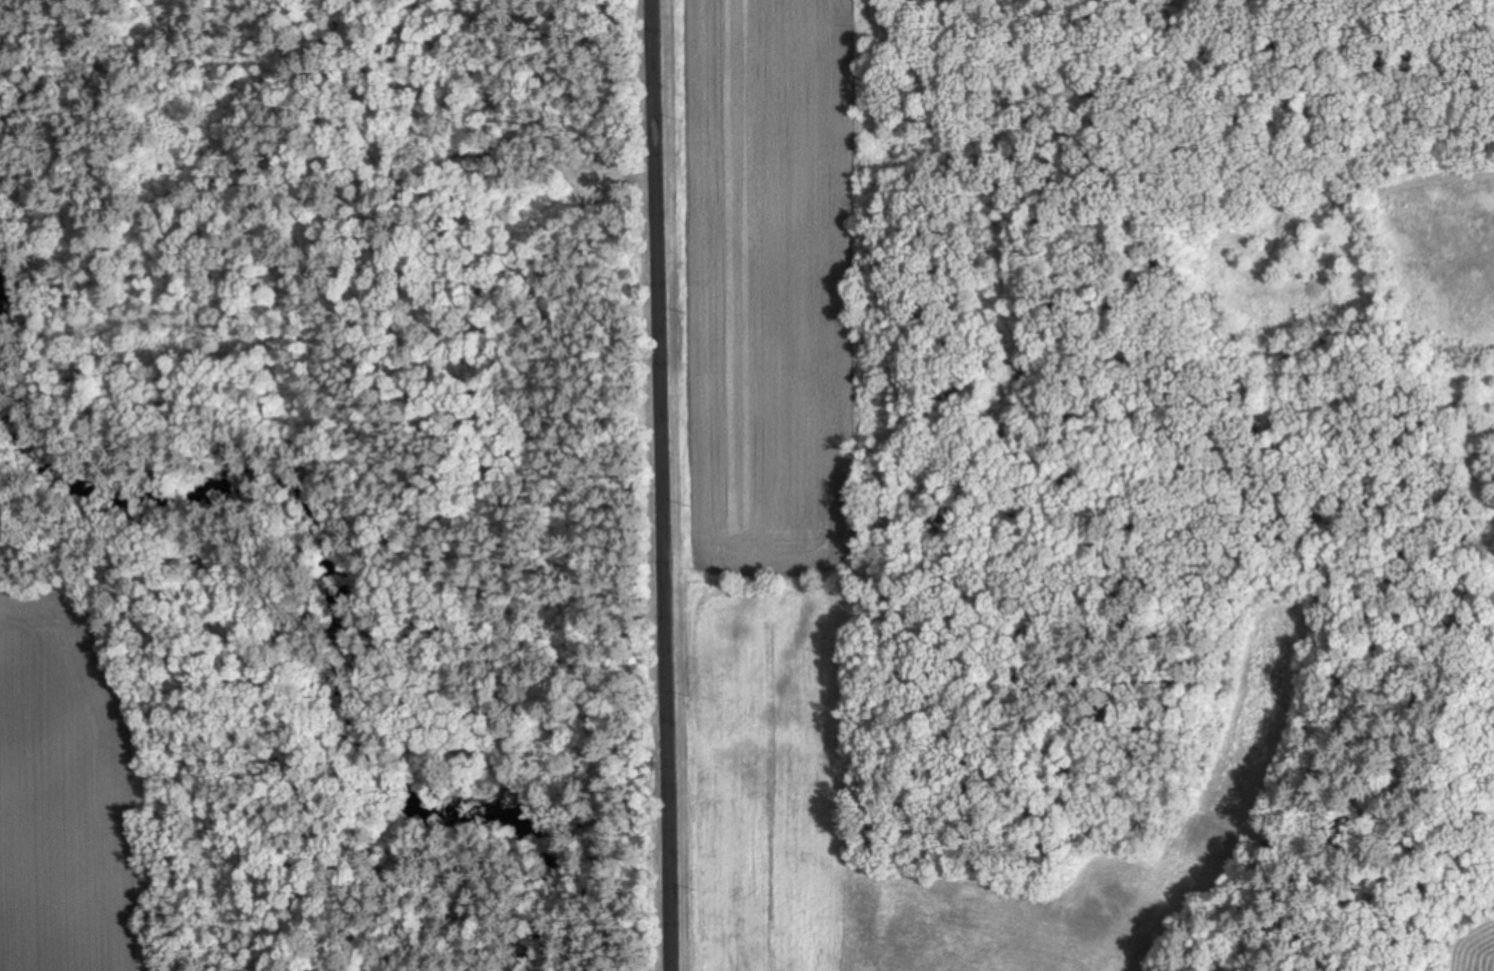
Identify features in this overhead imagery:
road: (679, 485)

